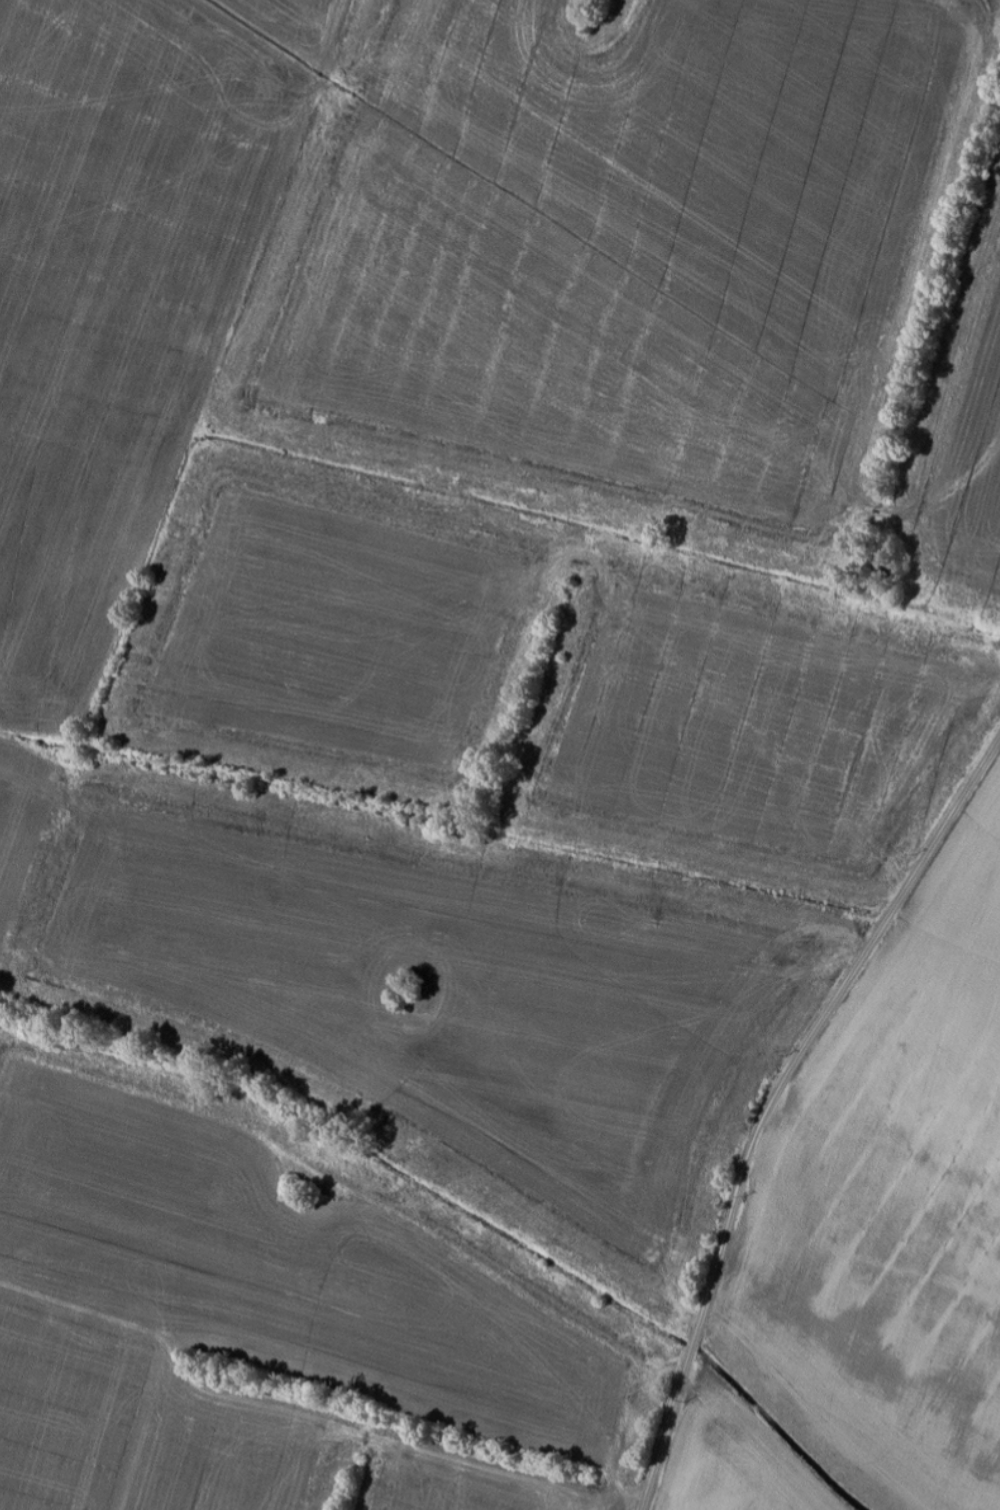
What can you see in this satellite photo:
road: (772, 1102)

